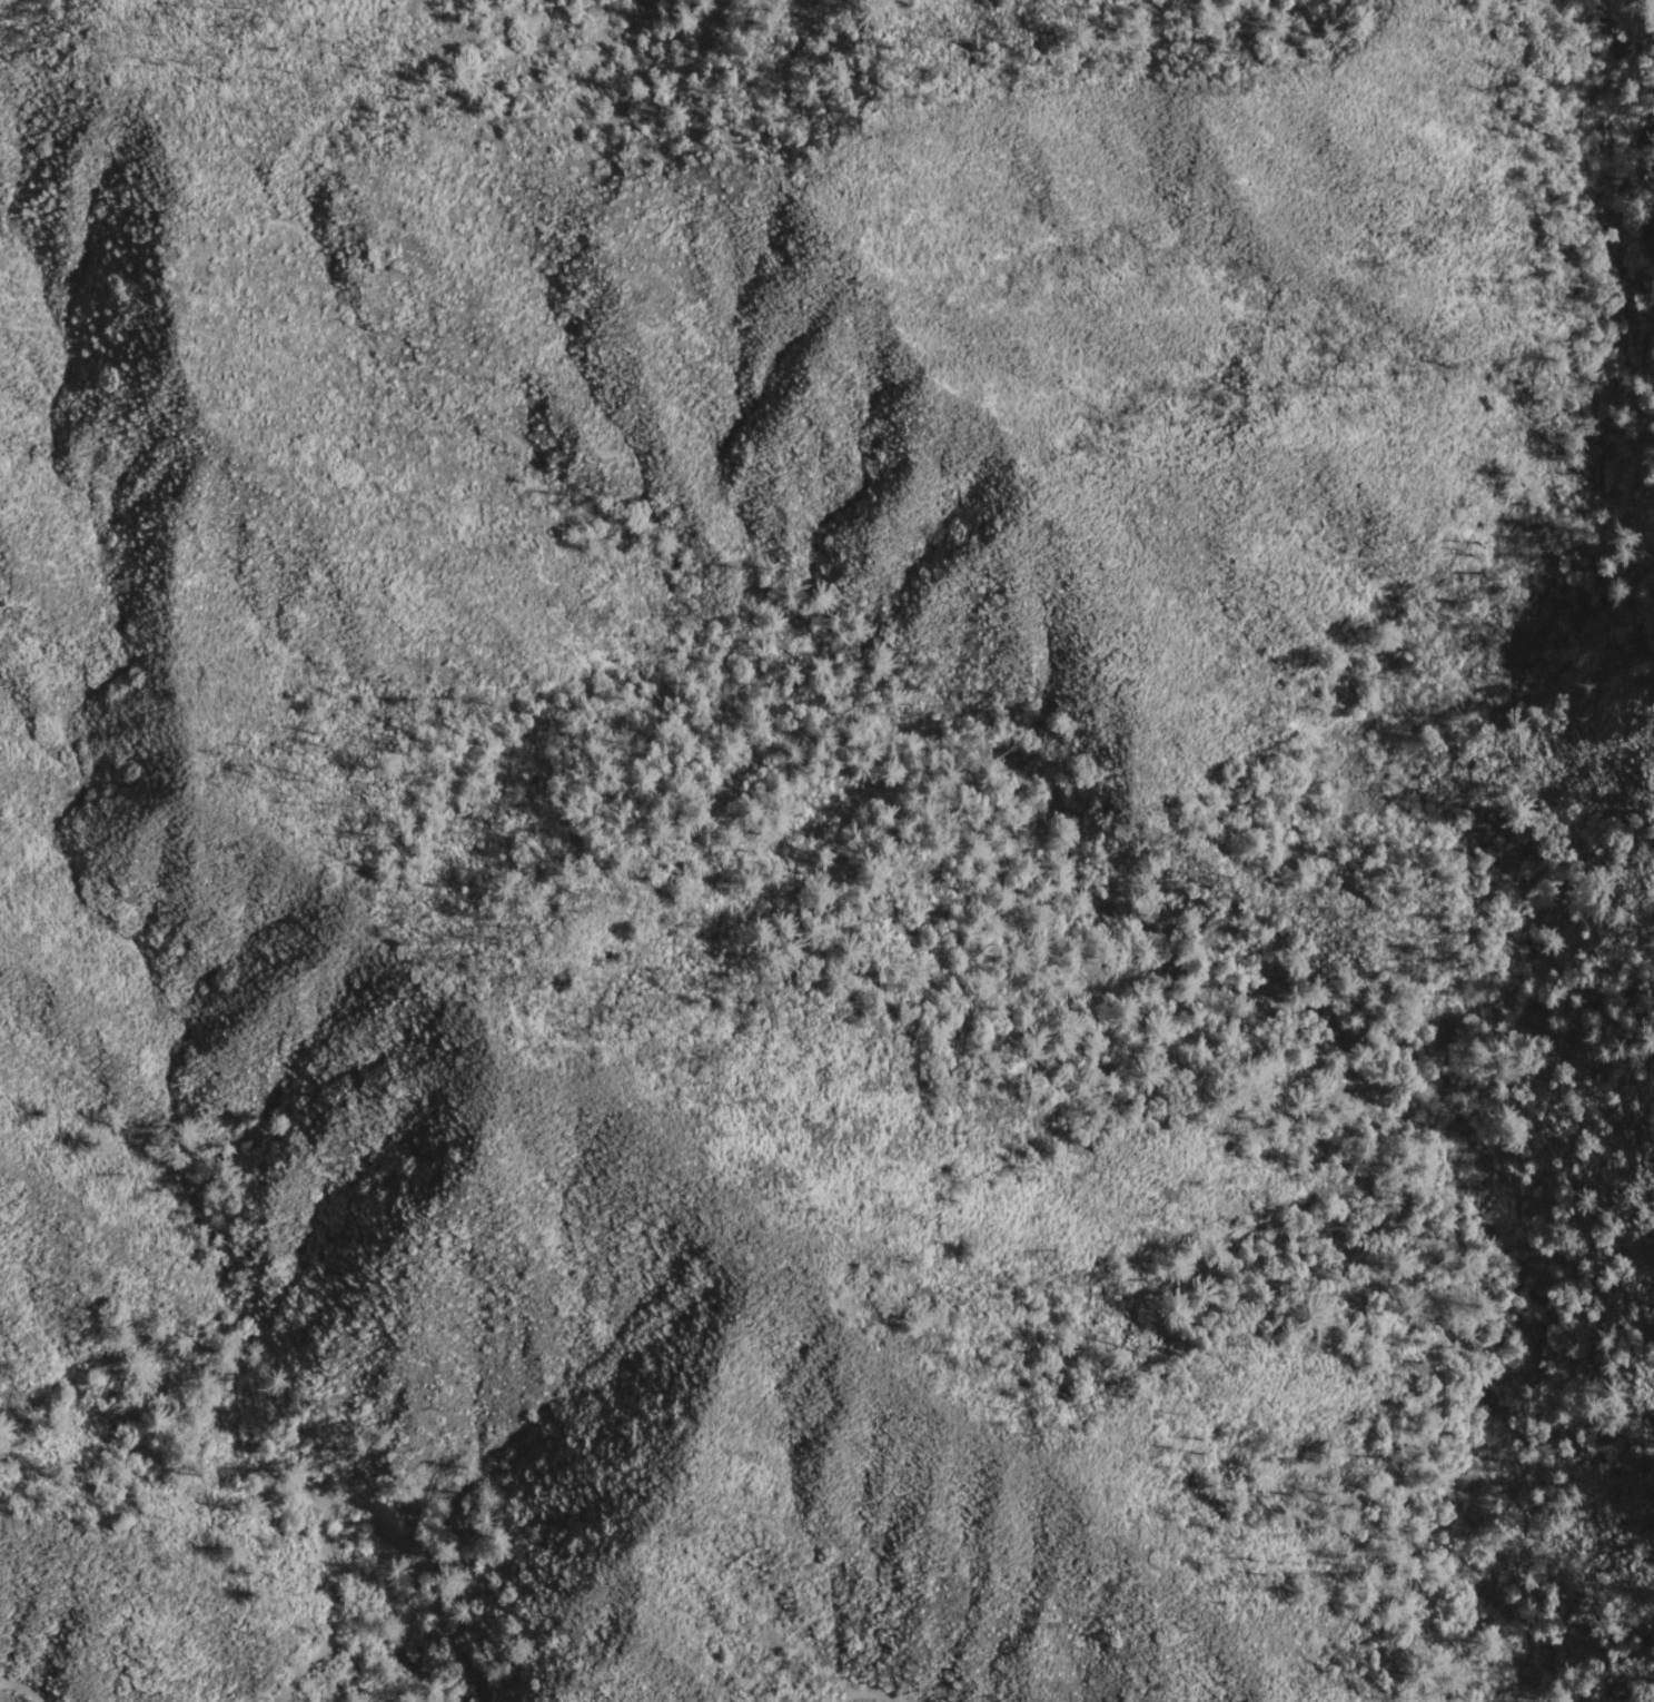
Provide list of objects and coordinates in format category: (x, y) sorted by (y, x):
road: (354, 1505)
road: (19, 1691)
road: (882, 1698)

